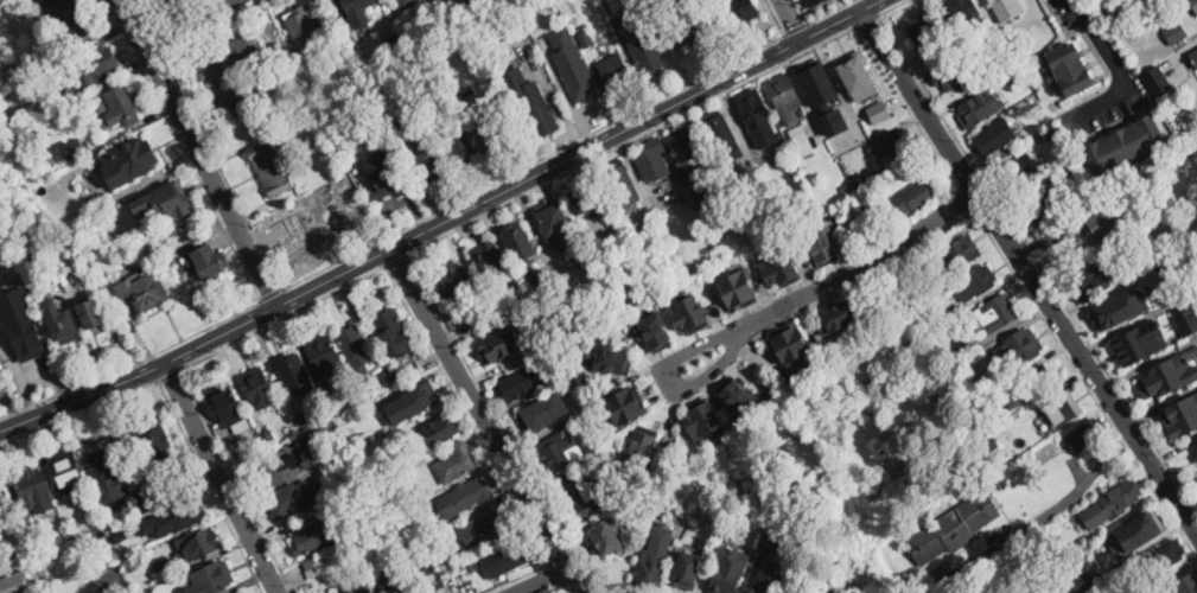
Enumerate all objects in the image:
building: (814, 1)
building: (160, 2)
building: (407, 2)
building: (1191, 4)
building: (61, 6)
road: (891, 7)
building: (1006, 8)
building: (355, 11)
building: (740, 11)
road: (802, 11)
road: (829, 11)
building: (967, 13)
building: (466, 14)
road: (775, 17)
road: (791, 18)
road: (866, 20)
road: (168, 24)
road: (192, 24)
building: (415, 24)
building: (1113, 24)
road: (215, 26)
building: (306, 27)
road: (795, 27)
building: (683, 31)
building: (1174, 31)
building: (77, 32)
building: (925, 32)
road: (142, 38)
building: (562, 39)
building: (586, 39)
road: (158, 43)
building: (643, 43)
building: (394, 44)
building: (358, 49)
road: (153, 58)
building: (1193, 58)
building: (1001, 59)
building: (230, 60)
building: (346, 60)
building: (97, 66)
road: (1118, 66)
building: (496, 70)
building: (615, 70)
building: (1010, 70)
building: (1071, 70)
building: (858, 74)
building: (1153, 74)
building: (577, 76)
building: (953, 76)
building: (821, 83)
building: (459, 98)
building: (785, 98)
building: (534, 101)
building: (238, 102)
building: (981, 106)
road: (909, 107)
building: (117, 108)
building: (879, 110)
building: (757, 115)
building: (1046, 119)
building: (836, 120)
building: (14, 123)
building: (399, 125)
building: (720, 133)
building: (324, 135)
building: (995, 136)
building: (1055, 136)
building: (1183, 136)
building: (348, 138)
building: (499, 139)
road: (630, 139)
building: (802, 140)
building: (904, 145)
building: (1125, 145)
building: (75, 149)
road: (185, 149)
building: (325, 149)
road: (484, 151)
building: (686, 151)
road: (575, 152)
road: (197, 153)
building: (465, 153)
building: (654, 159)
road: (534, 160)
building: (133, 161)
building: (429, 165)
building: (270, 167)
road: (223, 171)
building: (756, 172)
building: (1020, 172)
building: (384, 180)
building: (620, 183)
building: (847, 191)
building: (715, 195)
building: (916, 197)
building: (584, 198)
building: (170, 199)
road: (966, 199)
building: (866, 203)
building: (1043, 206)
building: (1150, 217)
building: (554, 219)
building: (1108, 221)
building: (316, 229)
building: (171, 231)
road: (987, 232)
building: (859, 234)
building: (520, 243)
building: (822, 246)
building: (1119, 249)
building: (960, 253)
building: (485, 257)
road: (394, 259)
road: (1037, 262)
building: (89, 263)
building: (209, 263)
building: (781, 264)
building: (182, 270)
road: (1027, 270)
building: (902, 278)
building: (452, 280)
building: (540, 281)
road: (830, 281)
building: (976, 283)
building: (1090, 283)
building: (739, 288)
building: (144, 291)
road: (270, 293)
building: (1122, 311)
building: (995, 312)
building: (688, 313)
building: (840, 313)
building: (93, 314)
building: (945, 315)
road: (284, 318)
building: (61, 321)
building: (494, 321)
building: (1188, 321)
building: (655, 331)
building: (393, 333)
building: (623, 333)
building: (25, 338)
building: (502, 340)
building: (790, 340)
building: (1144, 343)
building: (957, 346)
building: (356, 349)
building: (1023, 349)
building: (610, 356)
building: (325, 357)
road: (132, 363)
road: (139, 371)
building: (293, 372)
road: (171, 375)
building: (400, 376)
building: (1171, 376)
building: (389, 377)
building: (1039, 377)
building: (593, 380)
building: (523, 382)
building: (982, 387)
building: (259, 388)
building: (738, 394)
building: (416, 402)
building: (225, 404)
building: (625, 404)
building: (1062, 408)
building: (545, 412)
road: (79, 413)
road: (466, 415)
building: (1184, 417)
building: (702, 419)
building: (994, 420)
building: (303, 421)
road: (482, 421)
building: (440, 432)
road: (507, 433)
building: (317, 434)
building: (354, 434)
building: (755, 435)
building: (1088, 435)
building: (268, 436)
building: (988, 442)
building: (157, 444)
building: (642, 445)
building: (255, 448)
building: (1196, 449)
building: (1049, 451)
building: (562, 452)
building: (362, 454)
building: (1196, 459)
building: (456, 464)
building: (289, 465)
building: (66, 472)
building: (107, 474)
road: (218, 477)
road: (236, 480)
building: (644, 480)
building: (352, 486)
road: (210, 487)
building: (36, 491)
building: (163, 495)
building: (465, 497)
building: (586, 497)
building: (289, 499)
building: (142, 502)
building: (1113, 504)
building: (5, 505)
road: (1048, 514)
building: (184, 515)
building: (407, 519)
building: (429, 525)
building: (1145, 525)
building: (486, 528)
building: (955, 528)
building: (120, 536)
building: (607, 536)
building: (314, 537)
building: (772, 542)
building: (362, 543)
building: (197, 546)
building: (348, 548)
building: (445, 548)
building: (1166, 554)
building: (9, 556)
building: (652, 556)
building: (504, 560)
building: (313, 568)
building: (687, 568)
building: (730, 569)
building: (161, 570)
building: (426, 572)
road: (556, 576)
building: (212, 578)
road: (518, 578)
building: (394, 580)
building: (110, 581)
building: (769, 581)
building: (1083, 581)
building: (1188, 582)
building: (14, 584)
road: (545, 584)
building: (1100, 588)
building: (357, 589)
road: (558, 589)
building: (240, 592)
building: (1159, 592)

